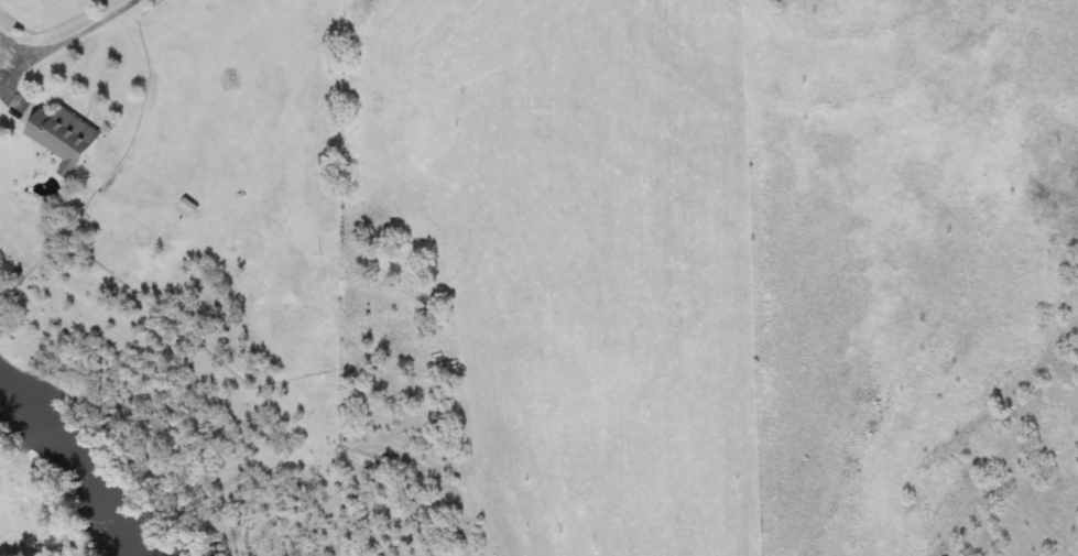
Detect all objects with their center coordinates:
road: (73, 37)
building: (66, 139)
crop: (172, 276)

